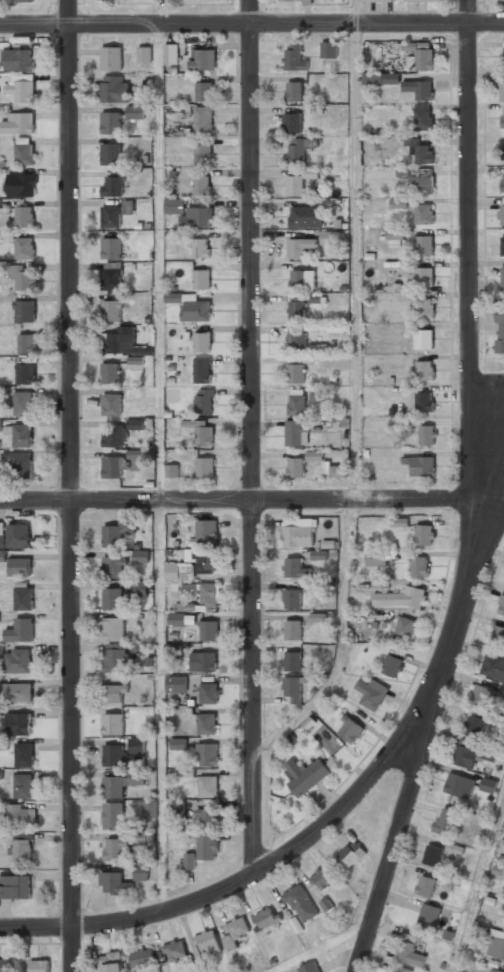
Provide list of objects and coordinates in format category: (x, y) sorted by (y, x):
building: (424, 0)
building: (502, 0)
building: (23, 1)
building: (295, 1)
building: (377, 1)
road: (355, 12)
road: (376, 23)
road: (125, 25)
building: (329, 49)
building: (144, 53)
building: (169, 53)
building: (421, 55)
building: (294, 56)
building: (111, 57)
building: (203, 58)
building: (18, 59)
building: (380, 78)
building: (21, 88)
building: (114, 88)
building: (419, 88)
building: (501, 88)
building: (294, 90)
building: (204, 91)
building: (3, 110)
building: (135, 112)
building: (423, 117)
building: (502, 117)
building: (203, 119)
building: (293, 121)
building: (110, 122)
building: (18, 123)
building: (299, 147)
building: (503, 149)
building: (421, 150)
building: (203, 151)
building: (24, 153)
building: (110, 153)
building: (419, 177)
building: (503, 180)
building: (299, 181)
building: (113, 183)
building: (201, 183)
building: (22, 185)
building: (398, 203)
building: (0, 204)
building: (175, 206)
building: (501, 211)
building: (117, 212)
building: (424, 213)
building: (305, 215)
building: (195, 216)
building: (22, 217)
building: (394, 232)
building: (327, 237)
building: (424, 244)
building: (299, 245)
building: (25, 247)
building: (111, 248)
building: (199, 248)
road: (160, 262)
road: (356, 262)
building: (421, 274)
building: (112, 275)
building: (502, 275)
building: (23, 276)
building: (201, 278)
building: (302, 279)
road: (469, 291)
building: (191, 306)
building: (424, 307)
building: (23, 310)
building: (111, 310)
building: (297, 310)
building: (500, 329)
building: (423, 338)
building: (202, 341)
building: (297, 341)
building: (27, 343)
building: (126, 344)
building: (318, 348)
building: (202, 369)
building: (425, 369)
building: (295, 371)
building: (110, 372)
building: (26, 374)
building: (318, 394)
building: (203, 400)
building: (296, 400)
building: (424, 400)
building: (23, 403)
building: (111, 403)
building: (136, 424)
building: (0, 425)
building: (297, 431)
building: (427, 433)
building: (21, 435)
building: (204, 435)
building: (112, 436)
road: (252, 437)
building: (22, 464)
building: (420, 464)
building: (113, 466)
building: (206, 466)
building: (296, 467)
building: (172, 470)
building: (338, 471)
road: (70, 486)
road: (253, 500)
building: (118, 531)
building: (299, 531)
building: (207, 532)
building: (425, 533)
building: (2, 534)
building: (21, 536)
building: (319, 555)
building: (3, 556)
building: (141, 556)
building: (376, 557)
building: (204, 560)
building: (419, 565)
building: (113, 566)
building: (295, 566)
building: (19, 567)
building: (173, 570)
building: (139, 588)
building: (203, 591)
building: (111, 597)
building: (401, 597)
building: (24, 598)
building: (292, 598)
building: (500, 605)
building: (181, 619)
building: (405, 627)
building: (114, 628)
building: (208, 629)
building: (292, 629)
building: (20, 630)
building: (499, 633)
road: (342, 642)
building: (1, 650)
building: (112, 657)
building: (16, 660)
building: (203, 660)
building: (293, 661)
building: (392, 664)
building: (493, 666)
building: (176, 683)
building: (292, 687)
building: (16, 690)
building: (209, 691)
building: (372, 692)
building: (113, 693)
building: (482, 695)
road: (161, 706)
building: (207, 722)
building: (18, 723)
road: (430, 723)
building: (113, 724)
building: (475, 726)
building: (349, 729)
building: (322, 733)
building: (137, 744)
building: (178, 744)
building: (207, 753)
building: (24, 754)
building: (471, 754)
building: (114, 755)
building: (1, 774)
building: (306, 774)
building: (120, 783)
building: (459, 784)
building: (488, 784)
building: (23, 785)
building: (207, 785)
building: (150, 807)
building: (22, 815)
building: (113, 815)
building: (207, 817)
building: (445, 820)
building: (207, 846)
building: (115, 848)
building: (22, 850)
building: (350, 855)
building: (433, 855)
building: (190, 861)
road: (258, 871)
building: (141, 873)
building: (321, 877)
building: (113, 883)
building: (425, 885)
building: (15, 886)
road: (478, 890)
building: (300, 903)
building: (429, 917)
building: (267, 918)
building: (236, 930)
building: (208, 943)
building: (496, 943)
road: (320, 947)
building: (175, 951)
building: (408, 952)
building: (143, 959)
building: (110, 962)
building: (5, 965)
building: (39, 966)
building: (309, 967)
building: (406, 969)
building: (398, 970)
building: (495, 970)
building: (393, 971)

